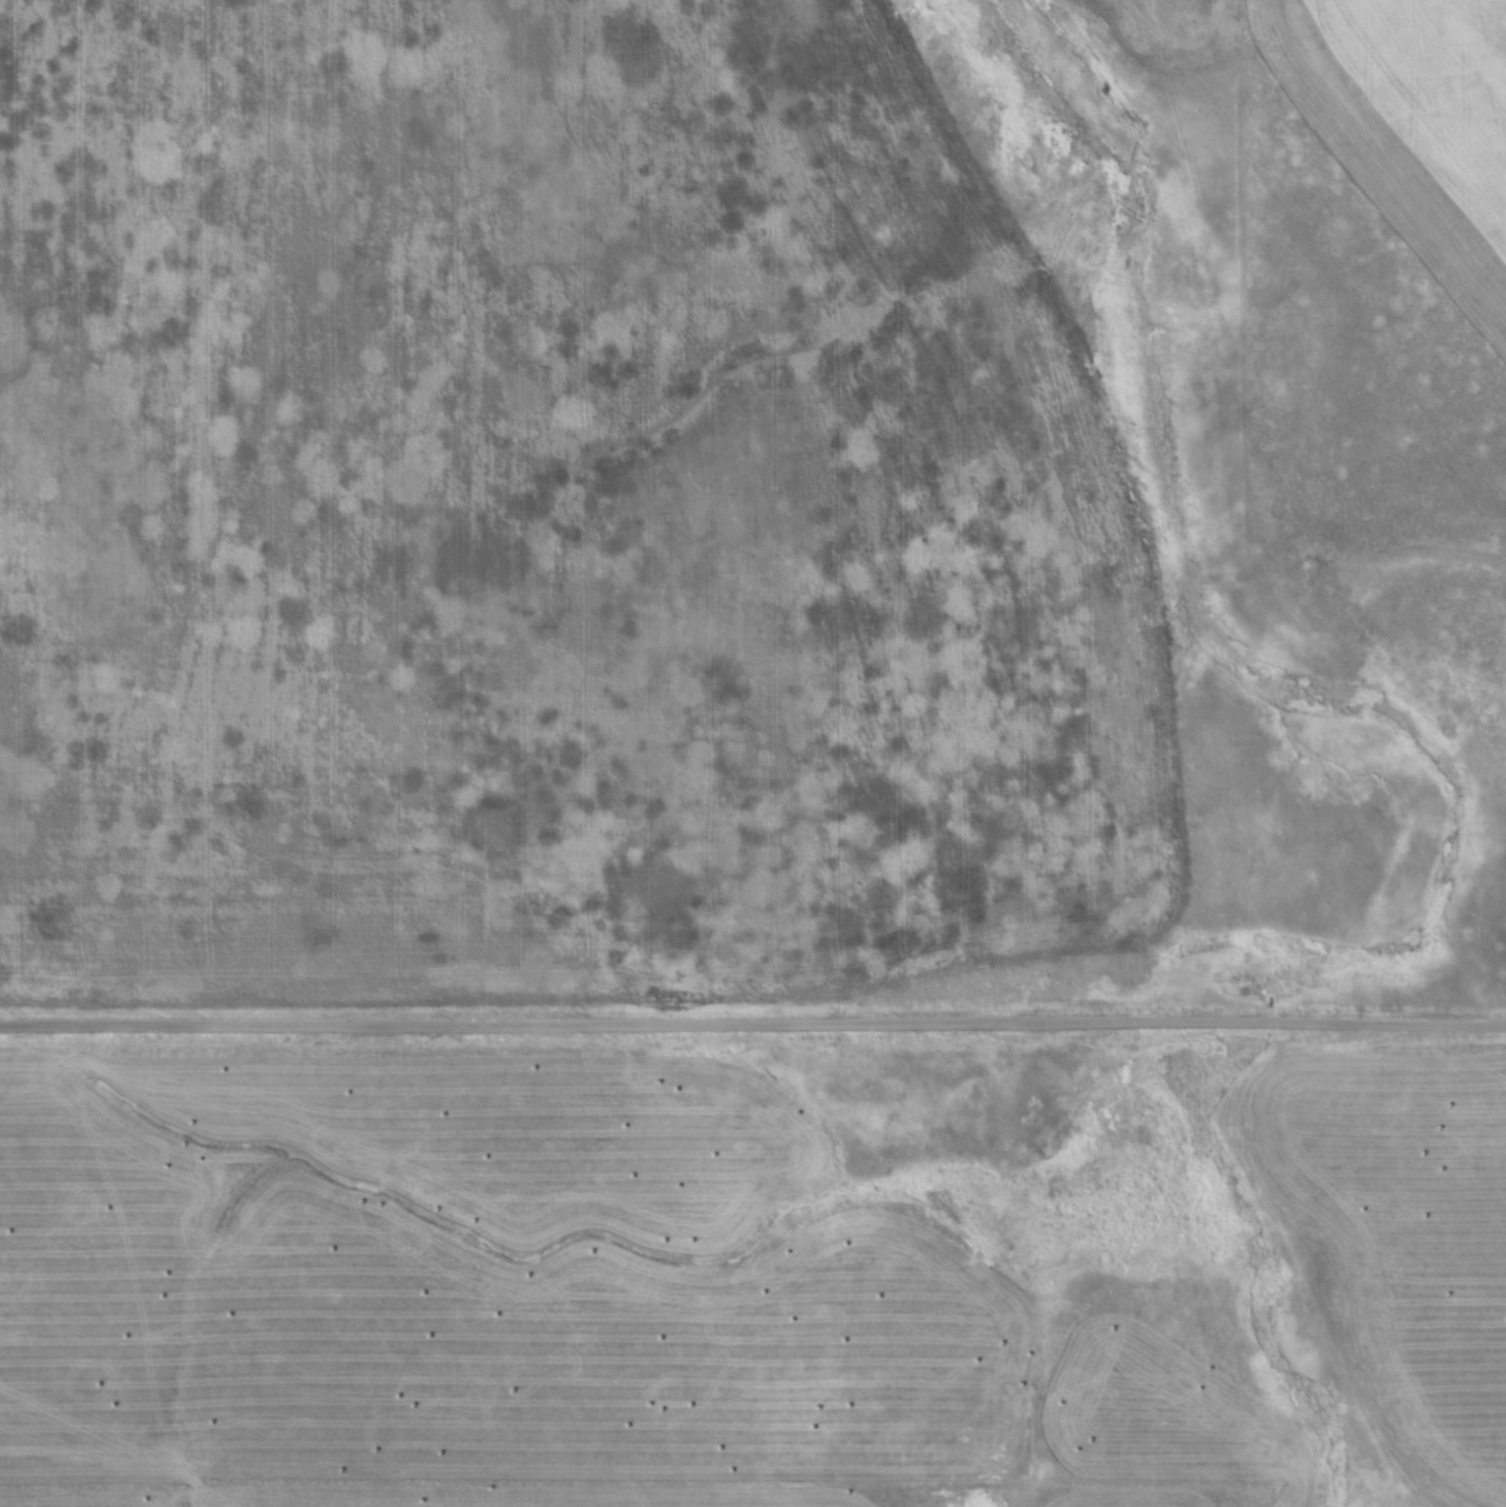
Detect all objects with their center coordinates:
road: (753, 1030)

